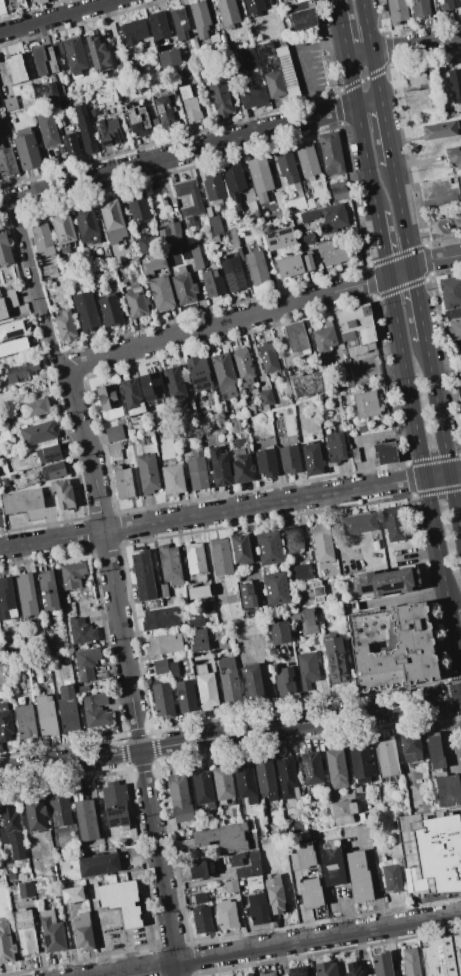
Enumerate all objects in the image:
building: (39, 1)
building: (297, 1)
building: (460, 1)
building: (18, 4)
building: (445, 4)
building: (2, 7)
building: (254, 7)
building: (420, 8)
building: (398, 11)
building: (227, 13)
road: (58, 16)
building: (200, 18)
building: (302, 18)
building: (179, 23)
building: (158, 25)
road: (341, 27)
building: (134, 31)
building: (214, 40)
road: (415, 44)
building: (57, 48)
building: (194, 49)
road: (370, 49)
building: (98, 52)
road: (359, 53)
building: (75, 55)
building: (169, 58)
building: (249, 58)
building: (43, 60)
road: (304, 60)
parking lot: (307, 63)
building: (16, 68)
building: (276, 70)
building: (189, 71)
building: (455, 85)
building: (47, 91)
building: (172, 96)
building: (253, 97)
building: (220, 99)
road: (368, 101)
building: (10, 104)
building: (189, 104)
building: (164, 111)
building: (137, 119)
building: (85, 128)
building: (5, 130)
building: (48, 130)
building: (106, 130)
building: (439, 130)
road: (386, 131)
road: (361, 133)
building: (71, 144)
building: (27, 149)
building: (331, 153)
road: (178, 154)
building: (453, 157)
building: (307, 160)
building: (7, 161)
building: (287, 166)
building: (260, 177)
building: (234, 180)
building: (459, 185)
building: (214, 186)
building: (338, 189)
building: (296, 199)
building: (189, 200)
road: (426, 201)
building: (138, 206)
building: (207, 211)
building: (111, 216)
road: (402, 216)
building: (327, 217)
building: (87, 224)
building: (214, 224)
building: (63, 229)
building: (170, 233)
building: (42, 237)
building: (127, 239)
building: (280, 239)
building: (306, 239)
road: (381, 244)
building: (147, 245)
building: (5, 250)
building: (185, 252)
building: (332, 254)
building: (196, 255)
building: (309, 262)
building: (154, 263)
building: (289, 266)
building: (257, 268)
building: (108, 272)
building: (49, 273)
building: (233, 274)
building: (213, 283)
building: (51, 284)
building: (95, 284)
building: (184, 286)
road: (37, 287)
building: (450, 291)
building: (161, 293)
building: (136, 300)
road: (418, 303)
building: (3, 310)
building: (86, 311)
building: (111, 311)
road: (263, 311)
building: (453, 313)
building: (65, 325)
building: (12, 329)
building: (356, 329)
building: (455, 329)
road: (335, 331)
building: (297, 337)
building: (324, 338)
building: (13, 346)
building: (457, 350)
building: (268, 357)
building: (243, 364)
building: (21, 371)
building: (199, 373)
building: (224, 374)
building: (307, 384)
building: (151, 385)
building: (175, 386)
building: (459, 393)
building: (132, 396)
building: (266, 397)
building: (109, 401)
building: (366, 404)
building: (222, 406)
building: (34, 408)
building: (362, 429)
building: (38, 433)
building: (5, 434)
building: (115, 434)
building: (184, 437)
road: (443, 438)
road: (419, 443)
building: (336, 446)
building: (116, 451)
building: (386, 452)
building: (48, 453)
building: (355, 455)
building: (312, 458)
building: (290, 459)
building: (267, 463)
building: (241, 466)
building: (220, 467)
building: (54, 471)
building: (148, 473)
building: (197, 473)
building: (173, 479)
building: (123, 482)
building: (63, 494)
building: (22, 501)
road: (230, 510)
building: (394, 523)
building: (359, 524)
road: (334, 534)
building: (293, 539)
building: (322, 542)
building: (269, 547)
building: (242, 549)
building: (221, 556)
building: (195, 557)
building: (170, 564)
building: (302, 572)
building: (72, 574)
building: (144, 575)
building: (388, 581)
building: (276, 588)
building: (163, 590)
building: (48, 591)
building: (318, 591)
building: (199, 592)
building: (247, 595)
building: (26, 596)
building: (223, 596)
road: (404, 597)
building: (6, 600)
building: (208, 607)
building: (247, 614)
building: (160, 618)
building: (194, 621)
building: (306, 621)
building: (250, 628)
building: (81, 632)
building: (279, 632)
building: (199, 641)
road: (454, 641)
building: (165, 644)
building: (392, 647)
building: (270, 650)
building: (336, 658)
building: (185, 659)
building: (86, 662)
building: (161, 666)
building: (307, 669)
road: (127, 672)
road: (265, 678)
building: (230, 681)
building: (285, 681)
building: (252, 682)
building: (206, 689)
building: (186, 696)
building: (163, 699)
building: (67, 709)
building: (96, 710)
building: (46, 715)
building: (25, 722)
building: (6, 723)
road: (230, 735)
building: (411, 747)
building: (435, 751)
building: (386, 757)
building: (360, 760)
building: (336, 766)
building: (311, 768)
building: (265, 777)
building: (287, 778)
building: (222, 784)
building: (246, 786)
building: (203, 788)
building: (448, 790)
building: (180, 798)
building: (115, 804)
building: (60, 810)
building: (342, 811)
building: (35, 814)
building: (86, 820)
building: (12, 831)
building: (224, 837)
building: (431, 848)
building: (35, 855)
building: (332, 863)
building: (99, 865)
building: (250, 866)
building: (202, 868)
building: (12, 876)
building: (359, 877)
road: (372, 877)
building: (392, 878)
building: (231, 886)
building: (26, 889)
building: (275, 894)
building: (72, 895)
building: (200, 898)
building: (122, 901)
building: (258, 908)
building: (227, 915)
building: (202, 919)
building: (52, 931)
building: (83, 932)
building: (25, 933)
building: (6, 944)
road: (276, 945)
building: (442, 956)
building: (410, 962)
building: (382, 964)
building: (325, 969)
building: (353, 969)
building: (297, 971)
building: (267, 974)
road: (105, 975)
building: (249, 975)
building: (252, 975)

